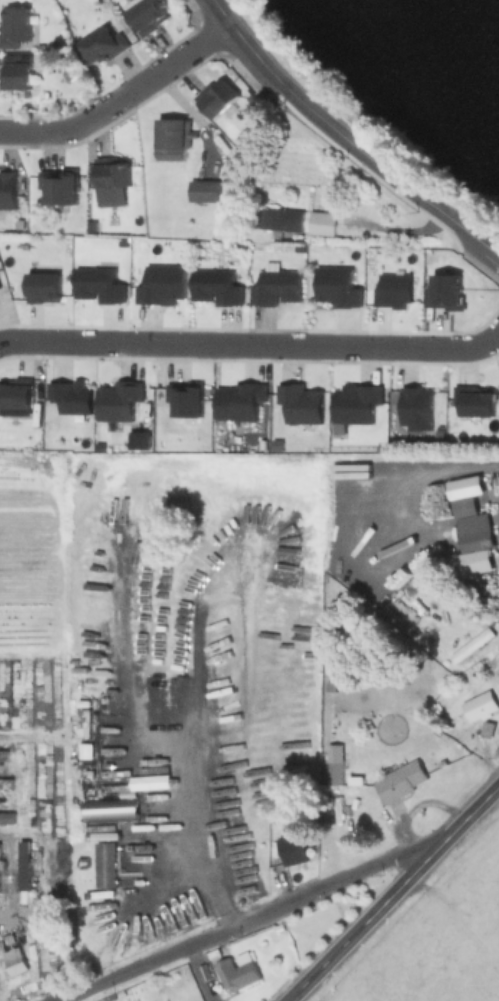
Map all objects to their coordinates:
building: (147, 16)
building: (14, 26)
road: (238, 41)
building: (101, 46)
building: (14, 73)
road: (118, 97)
building: (216, 98)
building: (170, 141)
road: (368, 157)
building: (110, 172)
building: (59, 185)
building: (7, 190)
building: (203, 191)
building: (280, 218)
building: (320, 223)
road: (395, 227)
building: (297, 248)
road: (481, 249)
building: (388, 283)
building: (98, 284)
building: (161, 285)
building: (215, 285)
building: (336, 285)
building: (43, 286)
building: (275, 288)
building: (445, 291)
road: (252, 345)
building: (15, 393)
building: (70, 395)
building: (184, 398)
building: (119, 400)
building: (238, 401)
building: (474, 401)
building: (355, 402)
building: (300, 404)
building: (416, 407)
building: (276, 444)
building: (474, 533)
building: (347, 559)
building: (482, 705)
crop: (32, 730)
building: (2, 755)
building: (332, 774)
building: (400, 782)
building: (7, 819)
road: (195, 834)
building: (291, 850)
building: (105, 865)
building: (24, 867)
road: (393, 894)
road: (245, 921)
crop: (435, 935)
building: (14, 962)
building: (237, 972)
road: (200, 973)

